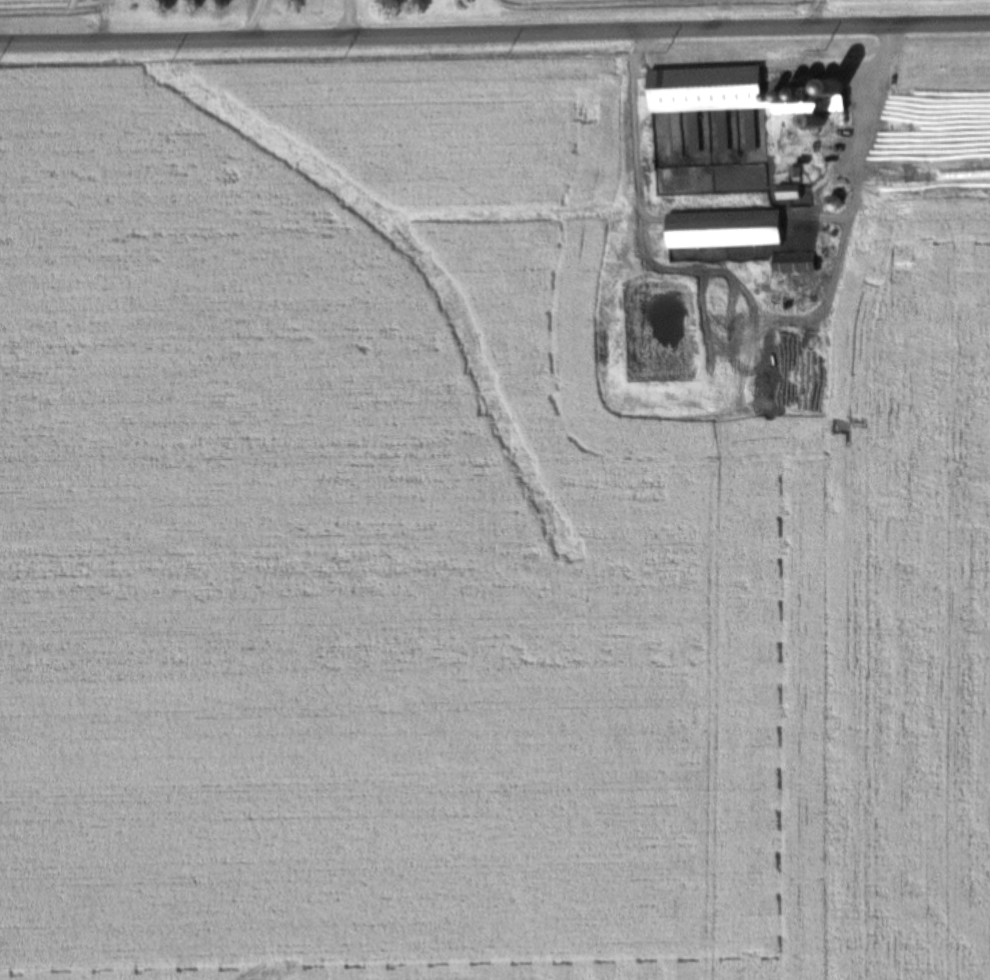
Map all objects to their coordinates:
road: (495, 33)
building: (734, 96)
building: (693, 138)
building: (791, 193)
building: (830, 204)
building: (721, 230)

